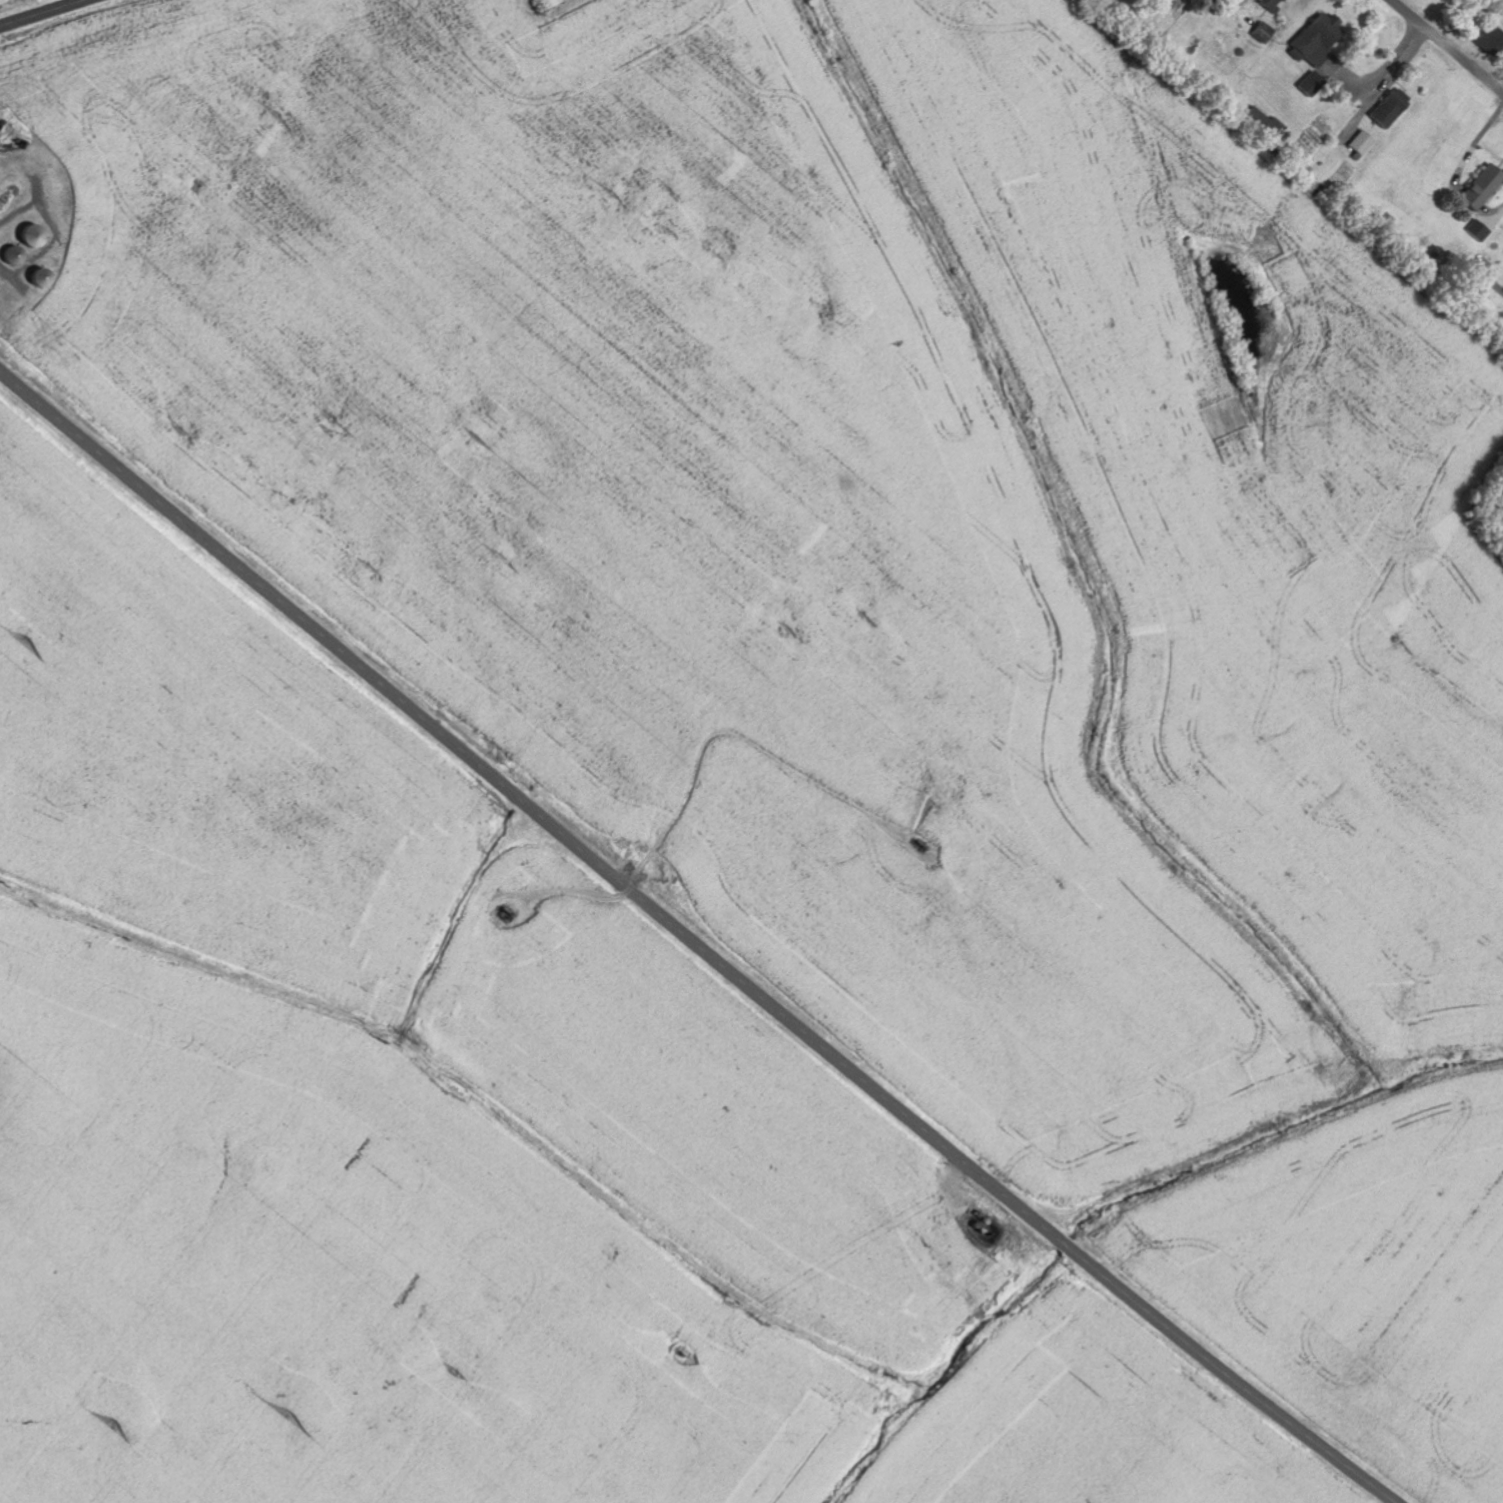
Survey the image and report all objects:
building: (549, 4)
building: (1270, 5)
road: (42, 13)
building: (1488, 38)
building: (1314, 39)
road: (1447, 45)
building: (1307, 83)
building: (1385, 108)
building: (1268, 123)
building: (1359, 143)
road: (1311, 161)
building: (1477, 188)
building: (1470, 295)
road: (694, 941)

